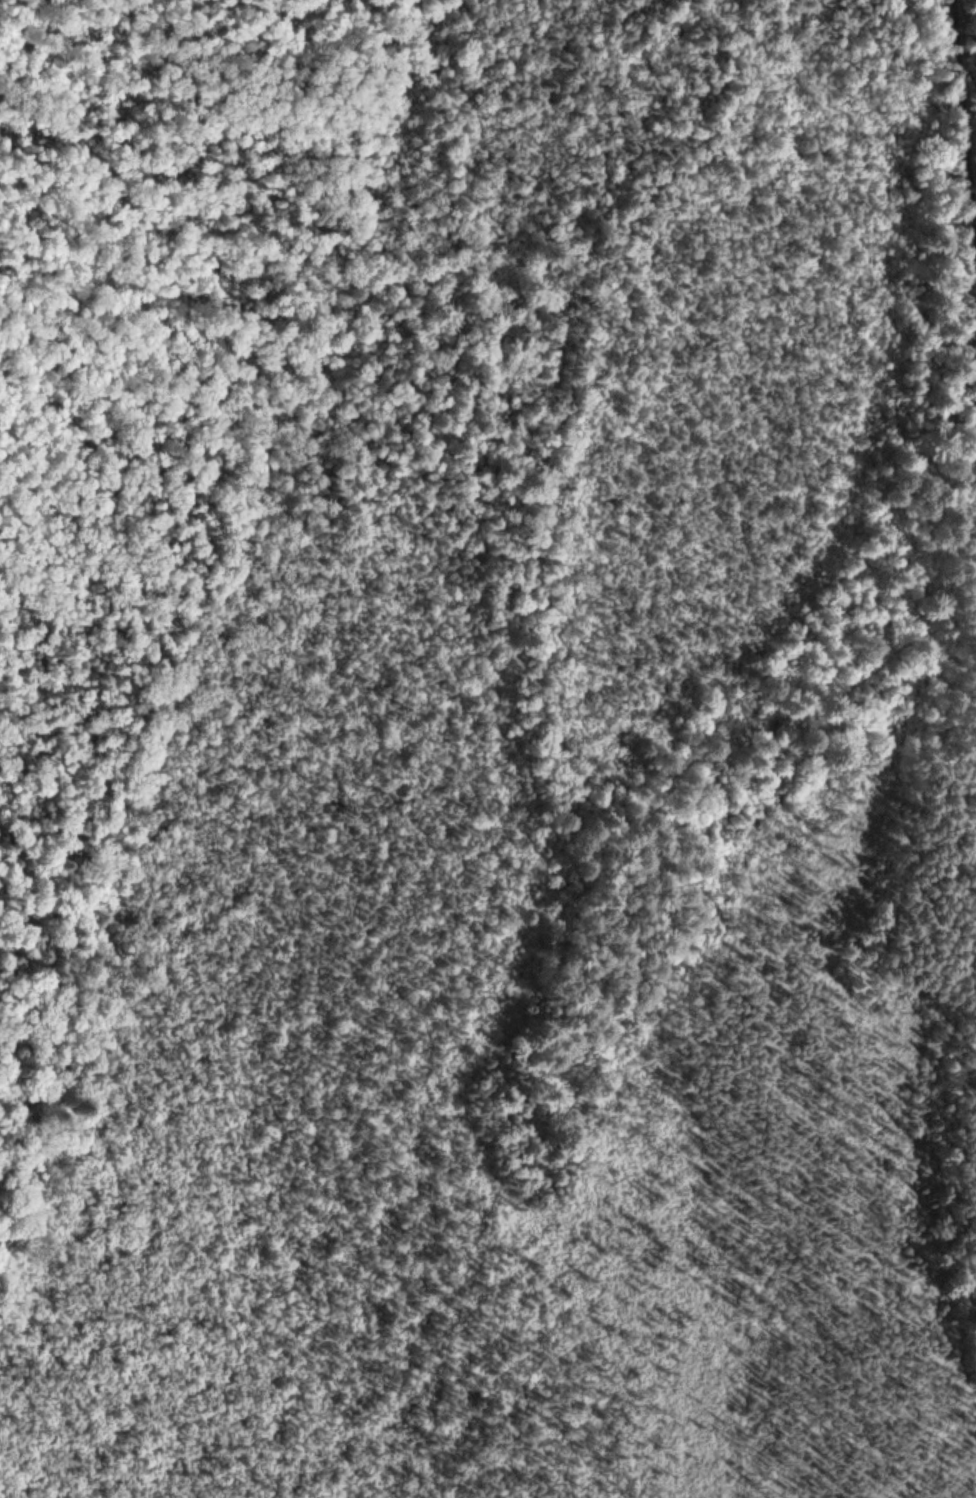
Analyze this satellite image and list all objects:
railway: (964, 131)

